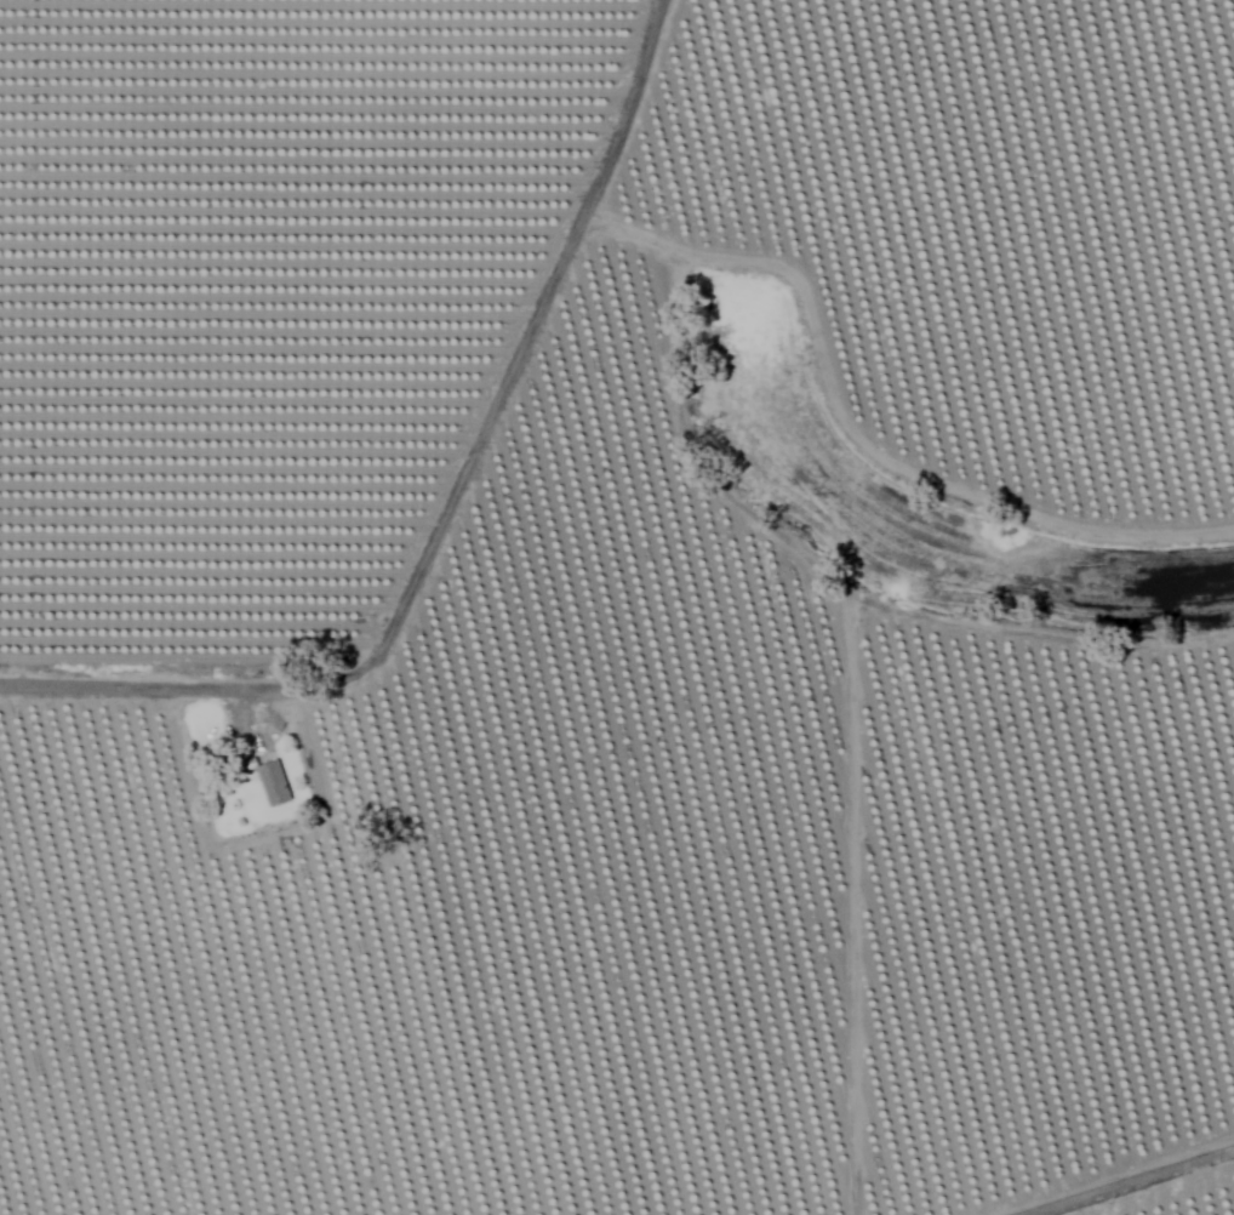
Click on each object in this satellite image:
road: (447, 506)
crop: (596, 621)
building: (275, 782)

